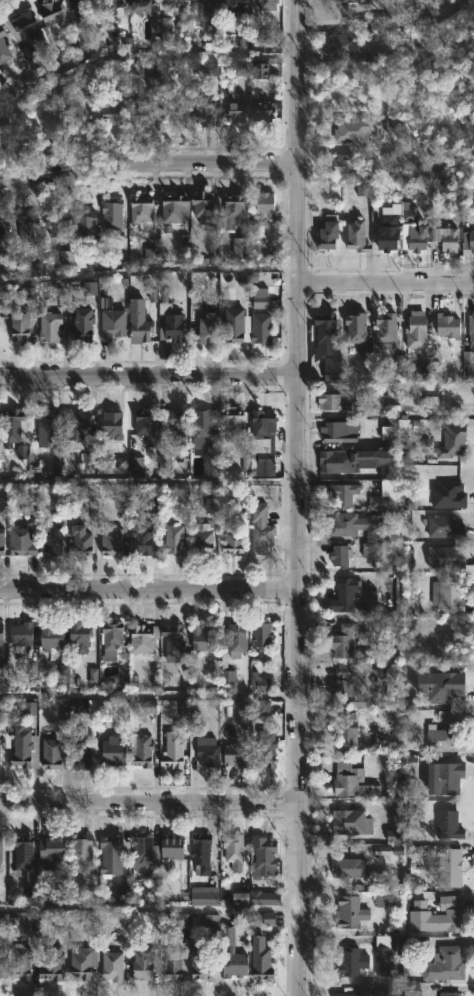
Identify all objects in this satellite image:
building: (349, 0)
building: (171, 2)
building: (269, 4)
building: (142, 5)
building: (203, 5)
building: (112, 6)
building: (236, 6)
building: (81, 10)
building: (53, 14)
building: (381, 23)
building: (27, 26)
building: (165, 29)
building: (340, 45)
building: (3, 47)
building: (30, 56)
building: (240, 68)
building: (210, 69)
building: (260, 70)
road: (294, 80)
building: (205, 107)
building: (111, 112)
building: (263, 112)
building: (238, 113)
building: (143, 114)
building: (52, 120)
building: (393, 127)
building: (352, 130)
road: (146, 163)
building: (348, 167)
building: (362, 189)
building: (203, 207)
building: (176, 208)
building: (233, 211)
building: (469, 211)
building: (263, 212)
building: (142, 214)
building: (113, 216)
road: (295, 222)
building: (55, 224)
building: (86, 227)
building: (26, 228)
building: (387, 229)
building: (328, 232)
building: (356, 237)
building: (414, 237)
building: (446, 239)
building: (467, 240)
building: (4, 245)
building: (239, 247)
building: (150, 257)
building: (94, 265)
road: (147, 268)
building: (36, 269)
road: (385, 282)
building: (60, 288)
building: (89, 288)
building: (152, 295)
building: (259, 298)
building: (104, 303)
building: (138, 322)
building: (113, 324)
building: (20, 325)
building: (81, 325)
building: (236, 325)
building: (447, 325)
building: (357, 326)
building: (50, 328)
building: (172, 328)
building: (471, 328)
building: (207, 329)
building: (387, 329)
building: (262, 330)
building: (415, 331)
building: (327, 345)
building: (468, 361)
building: (418, 373)
road: (149, 381)
building: (432, 391)
building: (334, 401)
building: (234, 419)
building: (174, 421)
building: (12, 424)
building: (78, 424)
building: (111, 424)
building: (147, 424)
building: (48, 425)
building: (205, 427)
building: (339, 431)
building: (272, 441)
building: (453, 441)
building: (21, 452)
building: (353, 459)
building: (166, 464)
building: (212, 465)
building: (136, 466)
building: (345, 493)
building: (448, 494)
building: (384, 495)
building: (214, 505)
building: (3, 506)
building: (357, 524)
building: (146, 525)
building: (445, 527)
building: (262, 528)
building: (52, 538)
building: (175, 538)
building: (202, 538)
building: (112, 539)
building: (1, 540)
building: (81, 540)
building: (22, 542)
building: (232, 542)
building: (340, 555)
building: (445, 558)
road: (149, 595)
building: (345, 595)
building: (399, 596)
building: (448, 596)
building: (369, 602)
building: (22, 633)
building: (262, 633)
building: (1, 635)
building: (81, 635)
building: (50, 636)
building: (144, 638)
building: (112, 639)
building: (204, 639)
building: (237, 639)
road: (298, 639)
building: (345, 640)
building: (174, 642)
building: (3, 666)
building: (226, 667)
building: (347, 679)
building: (259, 683)
building: (443, 686)
road: (149, 695)
building: (78, 705)
building: (150, 707)
building: (262, 707)
building: (242, 714)
building: (348, 729)
building: (25, 739)
building: (444, 740)
building: (266, 749)
building: (141, 750)
building: (174, 750)
building: (114, 751)
building: (208, 751)
building: (55, 753)
building: (84, 755)
building: (236, 755)
building: (449, 777)
building: (349, 782)
road: (148, 808)
building: (352, 822)
building: (448, 825)
building: (392, 836)
building: (174, 846)
building: (143, 847)
building: (1, 849)
building: (51, 850)
building: (23, 851)
building: (82, 851)
building: (233, 851)
building: (201, 853)
building: (113, 856)
building: (264, 856)
building: (349, 867)
building: (450, 867)
building: (121, 889)
building: (204, 896)
building: (239, 898)
building: (265, 898)
building: (387, 900)
road: (148, 908)
building: (351, 912)
building: (441, 916)
building: (268, 918)
building: (181, 919)
building: (210, 920)
building: (232, 955)
building: (382, 955)
building: (261, 959)
building: (83, 961)
building: (142, 962)
building: (202, 962)
building: (352, 962)
building: (22, 963)
building: (53, 963)
building: (2, 965)
building: (446, 965)
building: (173, 966)
building: (112, 967)
building: (410, 989)
building: (372, 991)
building: (450, 994)

